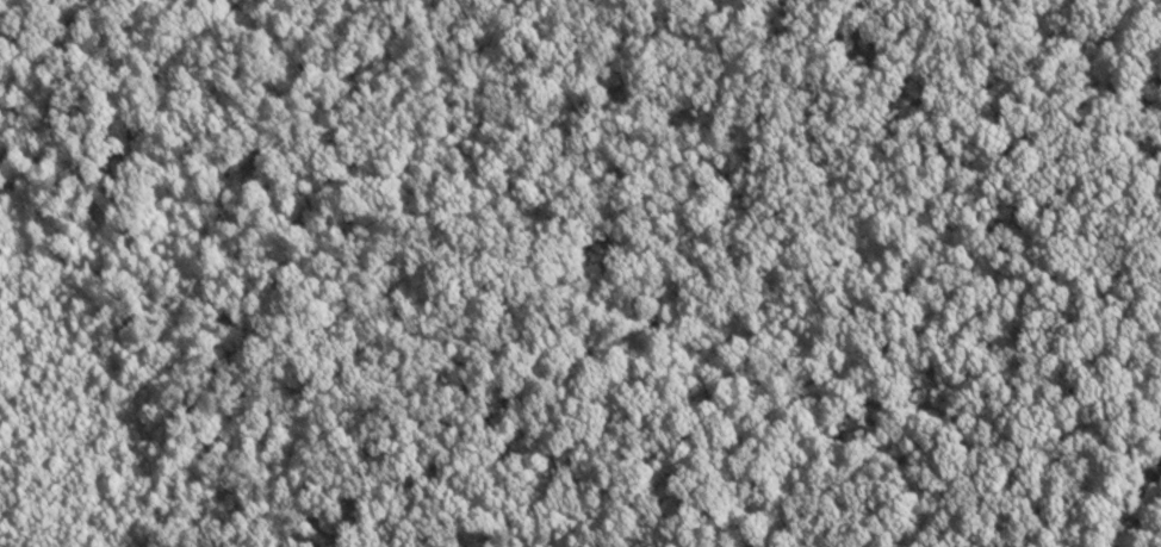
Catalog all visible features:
road: (1147, 510)

